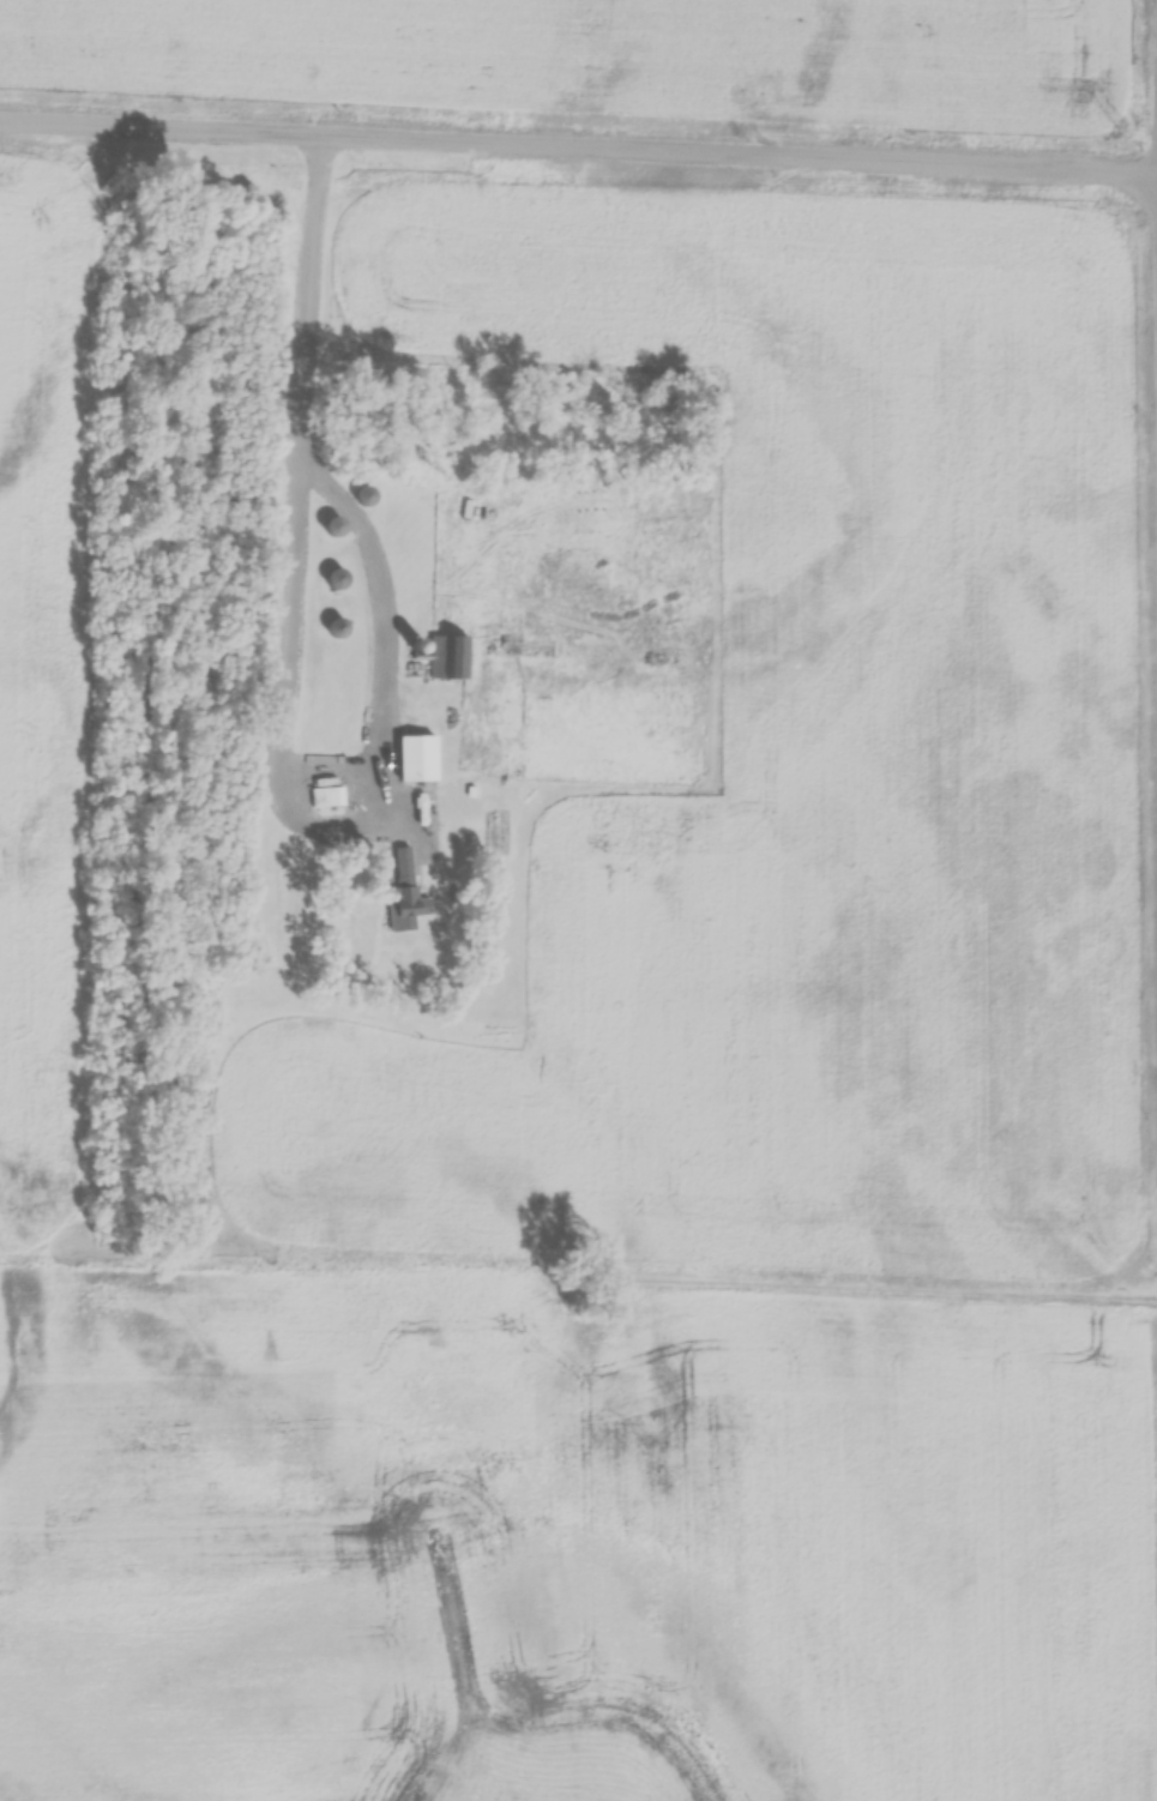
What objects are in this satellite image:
road: (578, 149)
road: (313, 472)
building: (364, 495)
building: (332, 526)
building: (336, 579)
building: (335, 628)
building: (502, 649)
building: (448, 658)
crop: (46, 689)
building: (416, 760)
crop: (794, 764)
building: (332, 797)
building: (405, 895)

